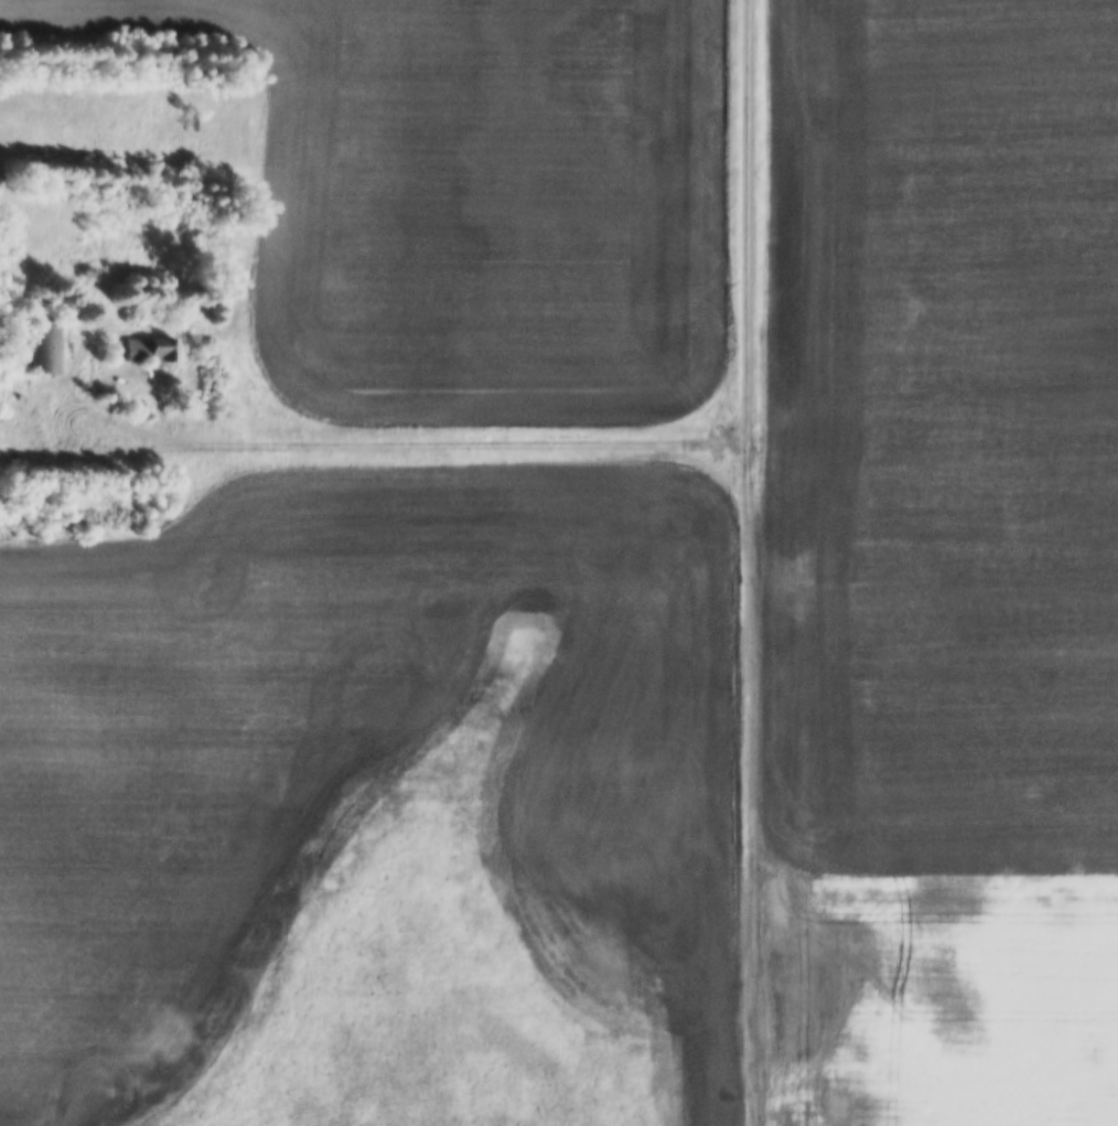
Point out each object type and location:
road: (746, 219)
building: (45, 346)
building: (144, 348)
road: (373, 443)
road: (744, 783)

